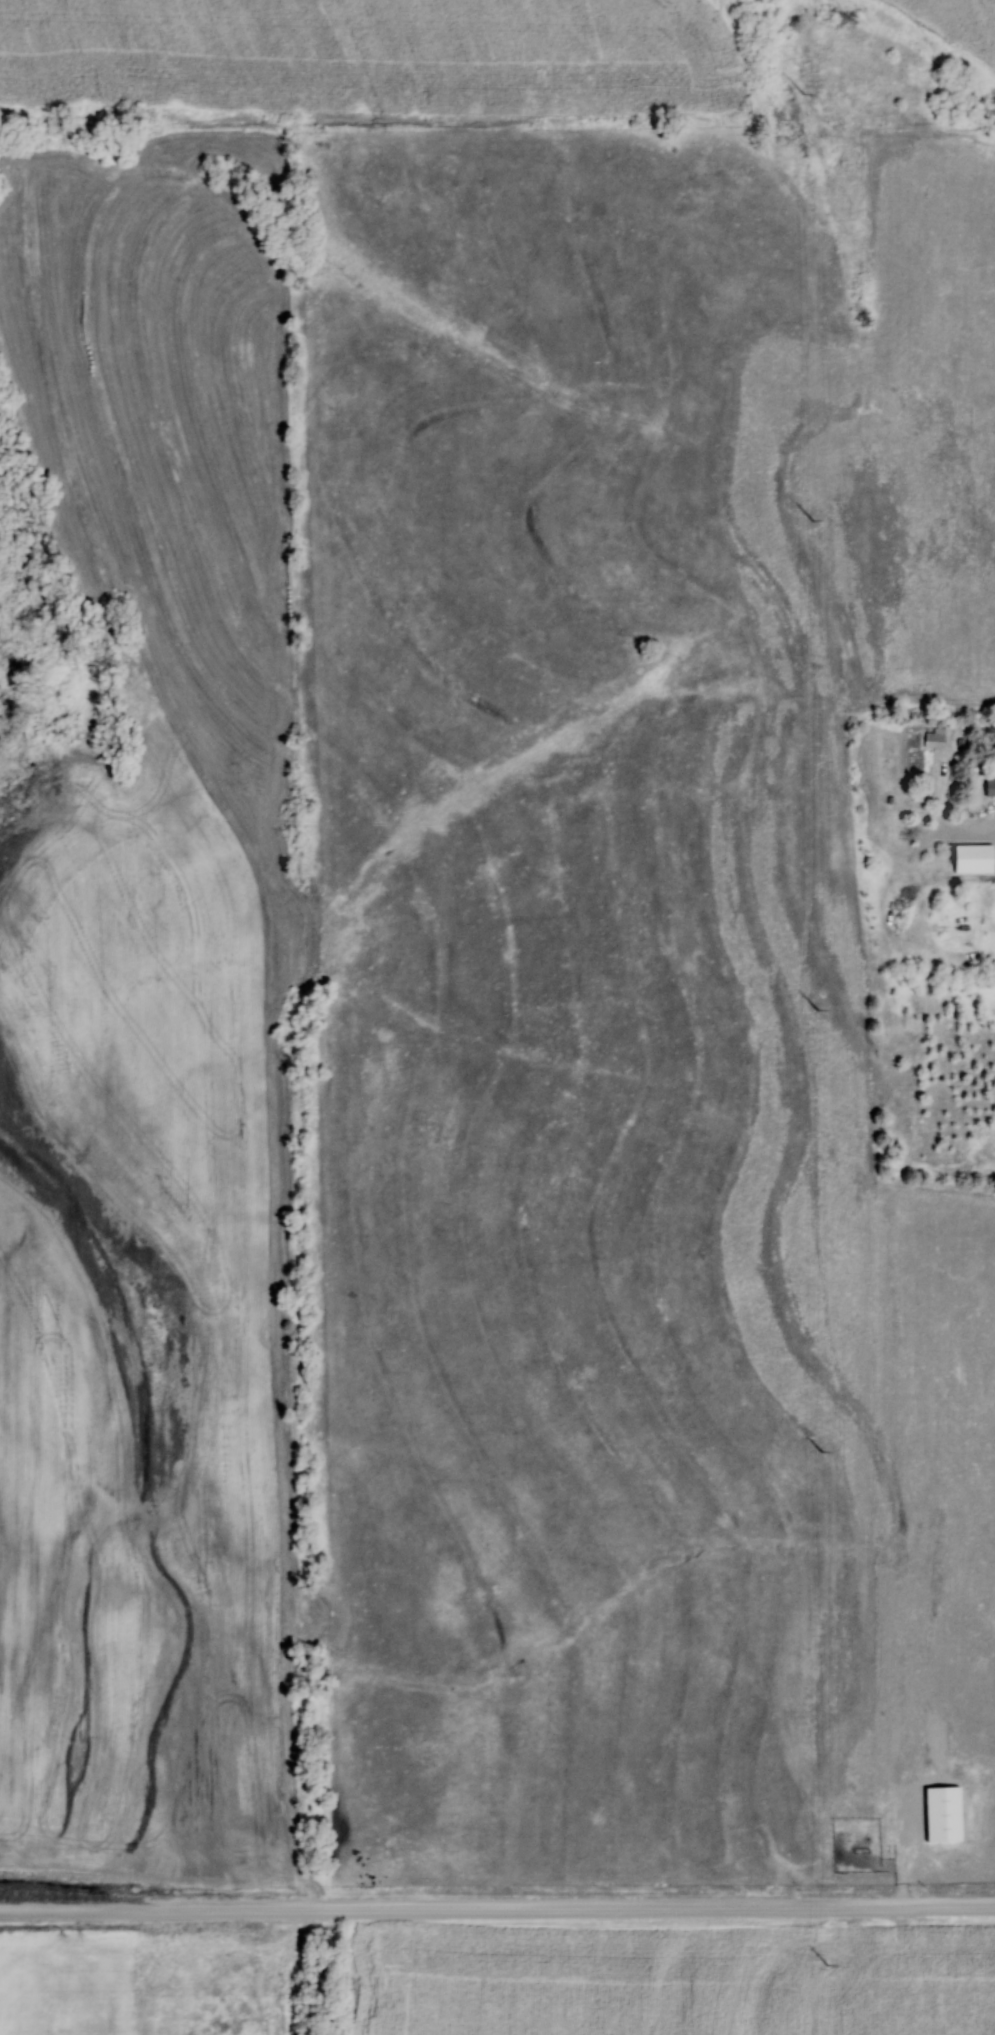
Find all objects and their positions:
power tower: (808, 94)
power tower: (811, 514)
building: (933, 739)
building: (989, 786)
building: (971, 857)
power tower: (816, 1004)
power tower: (821, 1445)
road: (497, 1908)
power tower: (826, 1966)

